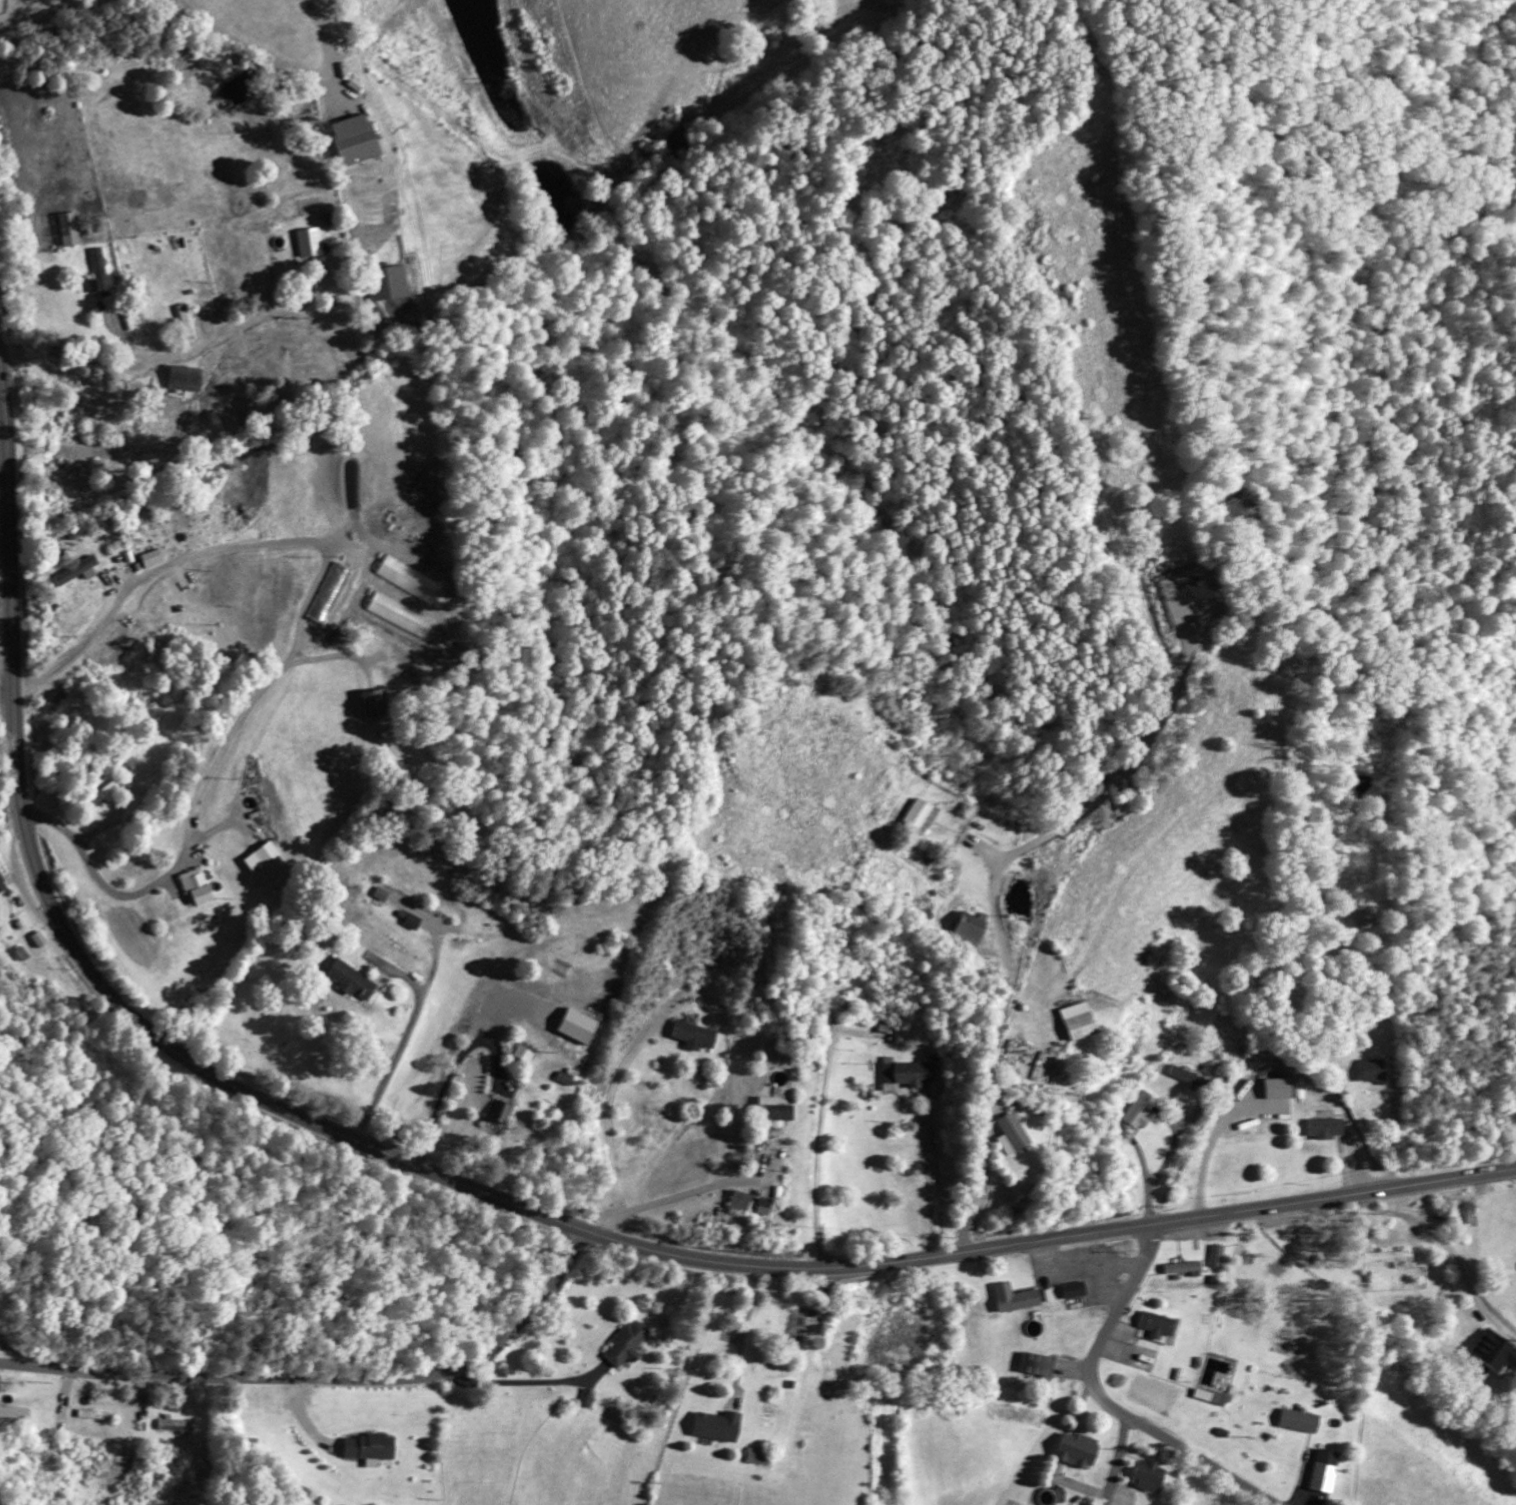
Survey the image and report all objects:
building: (353, 139)
building: (68, 229)
building: (309, 242)
building: (98, 271)
building: (386, 283)
building: (181, 378)
building: (150, 557)
building: (74, 571)
building: (407, 578)
building: (329, 593)
building: (398, 614)
road: (298, 633)
building: (374, 703)
building: (103, 793)
building: (918, 813)
building: (264, 860)
building: (1, 885)
building: (195, 886)
building: (381, 893)
building: (1361, 916)
building: (969, 929)
building: (38, 938)
road: (76, 948)
building: (350, 980)
building: (1077, 1020)
building: (575, 1026)
building: (692, 1034)
building: (522, 1053)
building: (908, 1073)
building: (1183, 1074)
building: (561, 1078)
building: (1279, 1087)
building: (1139, 1109)
building: (773, 1110)
building: (502, 1113)
building: (1325, 1127)
building: (1010, 1133)
building: (738, 1200)
building: (762, 1206)
road: (1049, 1240)
building: (1214, 1255)
building: (1387, 1256)
building: (1181, 1267)
building: (1074, 1289)
building: (1014, 1297)
building: (1155, 1324)
building: (797, 1326)
building: (624, 1344)
building: (1493, 1351)
building: (1037, 1364)
road: (324, 1379)
building: (1210, 1395)
road: (1108, 1403)
building: (14, 1412)
building: (1298, 1420)
building: (175, 1424)
building: (718, 1425)
building: (368, 1448)
building: (1077, 1449)
building: (757, 1455)
road: (1117, 1461)
building: (1324, 1470)
building: (1147, 1475)

